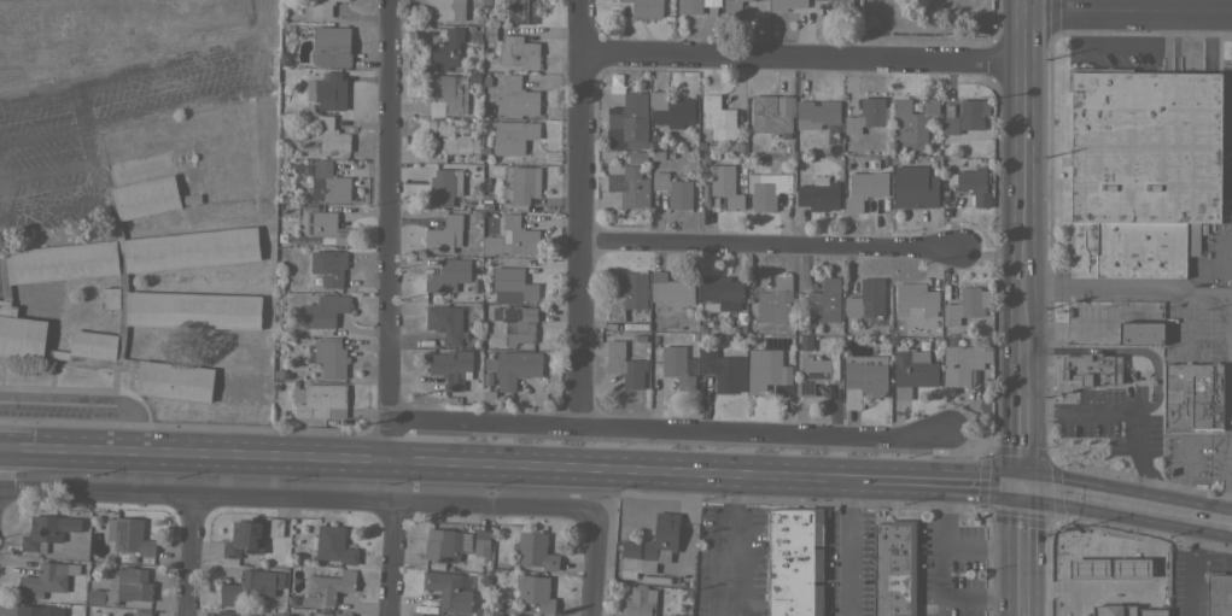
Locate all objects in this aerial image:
building: (343, 0)
building: (788, 4)
building: (695, 5)
building: (646, 7)
building: (732, 7)
building: (841, 7)
building: (317, 8)
building: (444, 10)
building: (520, 11)
road: (1131, 12)
building: (871, 22)
building: (286, 27)
building: (309, 30)
building: (472, 37)
building: (332, 46)
building: (513, 49)
building: (445, 51)
road: (806, 57)
building: (284, 59)
building: (473, 77)
building: (486, 82)
building: (327, 90)
building: (446, 90)
building: (515, 96)
road: (33, 99)
building: (489, 108)
building: (671, 110)
building: (772, 112)
building: (817, 113)
building: (866, 115)
building: (964, 116)
building: (718, 117)
building: (627, 122)
building: (912, 124)
building: (652, 134)
building: (329, 136)
building: (452, 136)
building: (513, 136)
building: (701, 146)
building: (1144, 146)
road: (83, 147)
building: (710, 147)
building: (738, 147)
building: (934, 152)
building: (655, 154)
building: (668, 154)
building: (636, 157)
building: (893, 159)
building: (954, 164)
road: (1028, 166)
building: (328, 182)
building: (973, 184)
building: (725, 186)
building: (520, 187)
building: (626, 187)
building: (915, 187)
building: (440, 188)
building: (673, 189)
building: (766, 189)
building: (864, 189)
building: (818, 194)
building: (146, 196)
road: (42, 211)
road: (582, 213)
building: (326, 227)
road: (386, 229)
building: (518, 234)
building: (444, 235)
road: (770, 246)
building: (191, 248)
building: (1132, 248)
building: (495, 251)
building: (62, 262)
building: (327, 268)
building: (448, 275)
building: (2, 276)
building: (121, 280)
building: (512, 286)
building: (670, 288)
building: (722, 291)
road: (1129, 293)
building: (627, 295)
building: (110, 298)
building: (866, 298)
building: (915, 299)
building: (776, 301)
building: (824, 301)
building: (967, 305)
building: (192, 310)
building: (325, 310)
building: (749, 315)
building: (740, 317)
building: (445, 322)
building: (516, 322)
building: (987, 324)
building: (637, 325)
building: (701, 329)
building: (740, 329)
building: (805, 330)
building: (1140, 333)
building: (19, 334)
building: (638, 338)
building: (691, 338)
building: (702, 338)
building: (726, 338)
building: (951, 341)
building: (970, 341)
building: (804, 342)
building: (93, 344)
building: (922, 345)
road: (1050, 350)
road: (1137, 352)
building: (56, 353)
building: (331, 358)
building: (962, 363)
building: (624, 365)
building: (451, 366)
building: (513, 366)
building: (678, 366)
building: (1088, 369)
building: (723, 370)
building: (765, 370)
building: (816, 371)
building: (912, 371)
building: (280, 375)
building: (174, 380)
building: (486, 380)
building: (863, 381)
building: (276, 387)
building: (776, 391)
building: (1187, 397)
building: (1216, 397)
building: (320, 400)
road: (87, 403)
road: (1028, 406)
road: (1088, 410)
road: (667, 430)
road: (1178, 445)
road: (433, 460)
road: (946, 477)
traffic signals: (1028, 480)
road: (1228, 483)
road: (1102, 491)
road: (299, 500)
road: (1203, 510)
building: (46, 530)
building: (129, 535)
building: (244, 538)
building: (481, 541)
building: (1111, 542)
building: (332, 544)
building: (446, 544)
road: (732, 544)
road: (846, 545)
road: (1003, 545)
building: (650, 546)
road: (1038, 547)
building: (535, 551)
road: (192, 556)
road: (393, 561)
building: (795, 562)
building: (451, 567)
road: (596, 568)
building: (894, 568)
road: (940, 568)
building: (1098, 576)
building: (45, 579)
building: (481, 580)
building: (1062, 585)
building: (251, 586)
building: (122, 587)
building: (327, 587)
building: (449, 589)
building: (535, 592)
building: (1219, 593)
building: (288, 600)
building: (638, 602)
building: (39, 610)
building: (141, 612)
building: (232, 612)
building: (341, 612)
building: (478, 612)
building: (278, 614)
building: (316, 614)
building: (427, 615)
building: (507, 615)
building: (675, 615)

